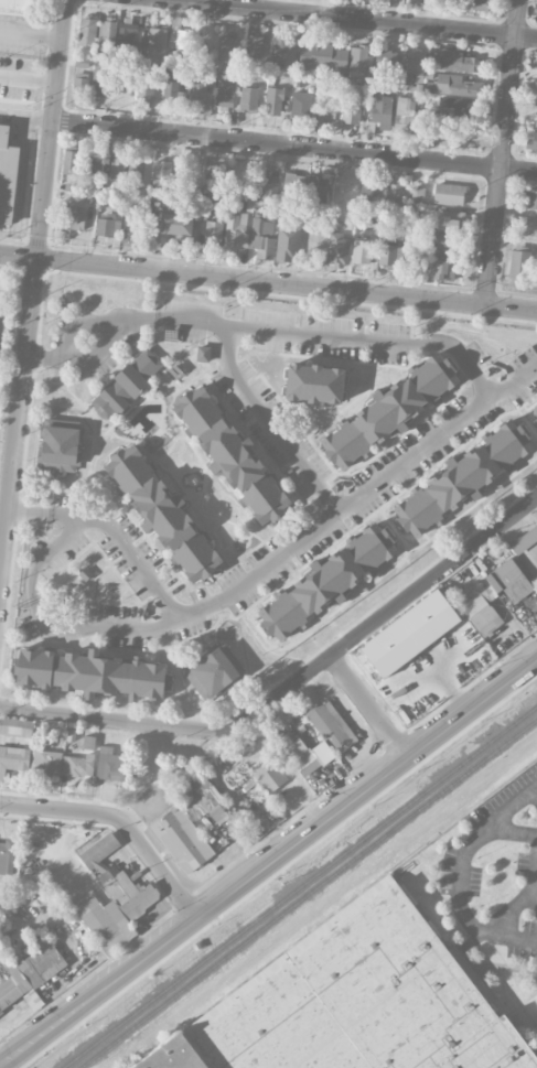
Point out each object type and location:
building: (440, 0)
building: (18, 4)
building: (476, 4)
road: (357, 19)
building: (87, 31)
building: (127, 32)
building: (106, 34)
building: (179, 35)
building: (157, 44)
building: (254, 46)
building: (227, 48)
building: (282, 55)
building: (321, 57)
building: (387, 61)
building: (361, 62)
building: (457, 62)
building: (412, 65)
building: (100, 75)
road: (28, 80)
building: (452, 85)
building: (147, 89)
building: (172, 90)
building: (225, 95)
building: (248, 98)
building: (273, 101)
building: (301, 104)
building: (380, 108)
building: (463, 108)
building: (351, 110)
building: (536, 111)
building: (325, 112)
building: (404, 114)
road: (33, 120)
road: (51, 128)
building: (531, 142)
road: (293, 147)
road: (503, 151)
building: (69, 162)
building: (95, 163)
building: (117, 168)
building: (135, 169)
building: (7, 173)
building: (161, 173)
building: (213, 177)
building: (271, 185)
building: (293, 185)
building: (318, 186)
building: (369, 194)
building: (394, 194)
building: (449, 194)
building: (529, 199)
building: (72, 217)
building: (450, 219)
building: (107, 225)
building: (178, 227)
building: (529, 227)
building: (130, 229)
building: (236, 230)
building: (213, 234)
building: (262, 238)
building: (287, 244)
building: (448, 244)
building: (339, 249)
building: (361, 251)
building: (518, 262)
building: (443, 270)
road: (268, 280)
road: (162, 319)
road: (75, 325)
road: (378, 342)
building: (203, 354)
road: (49, 358)
building: (127, 384)
building: (314, 384)
building: (534, 404)
building: (389, 410)
road: (19, 414)
road: (271, 423)
building: (60, 447)
building: (230, 455)
building: (462, 478)
building: (162, 514)
building: (524, 539)
road: (272, 559)
building: (529, 565)
building: (536, 579)
building: (508, 580)
building: (325, 582)
building: (482, 612)
road: (383, 615)
road: (50, 628)
building: (409, 633)
building: (214, 671)
building: (92, 673)
road: (368, 708)
road: (114, 720)
building: (329, 724)
building: (15, 726)
building: (308, 756)
building: (13, 759)
building: (46, 760)
building: (109, 763)
building: (77, 765)
building: (269, 776)
road: (533, 785)
road: (533, 792)
building: (204, 800)
road: (503, 807)
road: (120, 821)
building: (181, 839)
building: (8, 855)
road: (464, 859)
road: (268, 863)
railway: (299, 886)
building: (129, 893)
railway: (308, 893)
road: (531, 896)
road: (513, 908)
building: (106, 923)
road: (511, 936)
building: (43, 963)
building: (7, 989)
building: (355, 1002)
building: (0, 1012)

